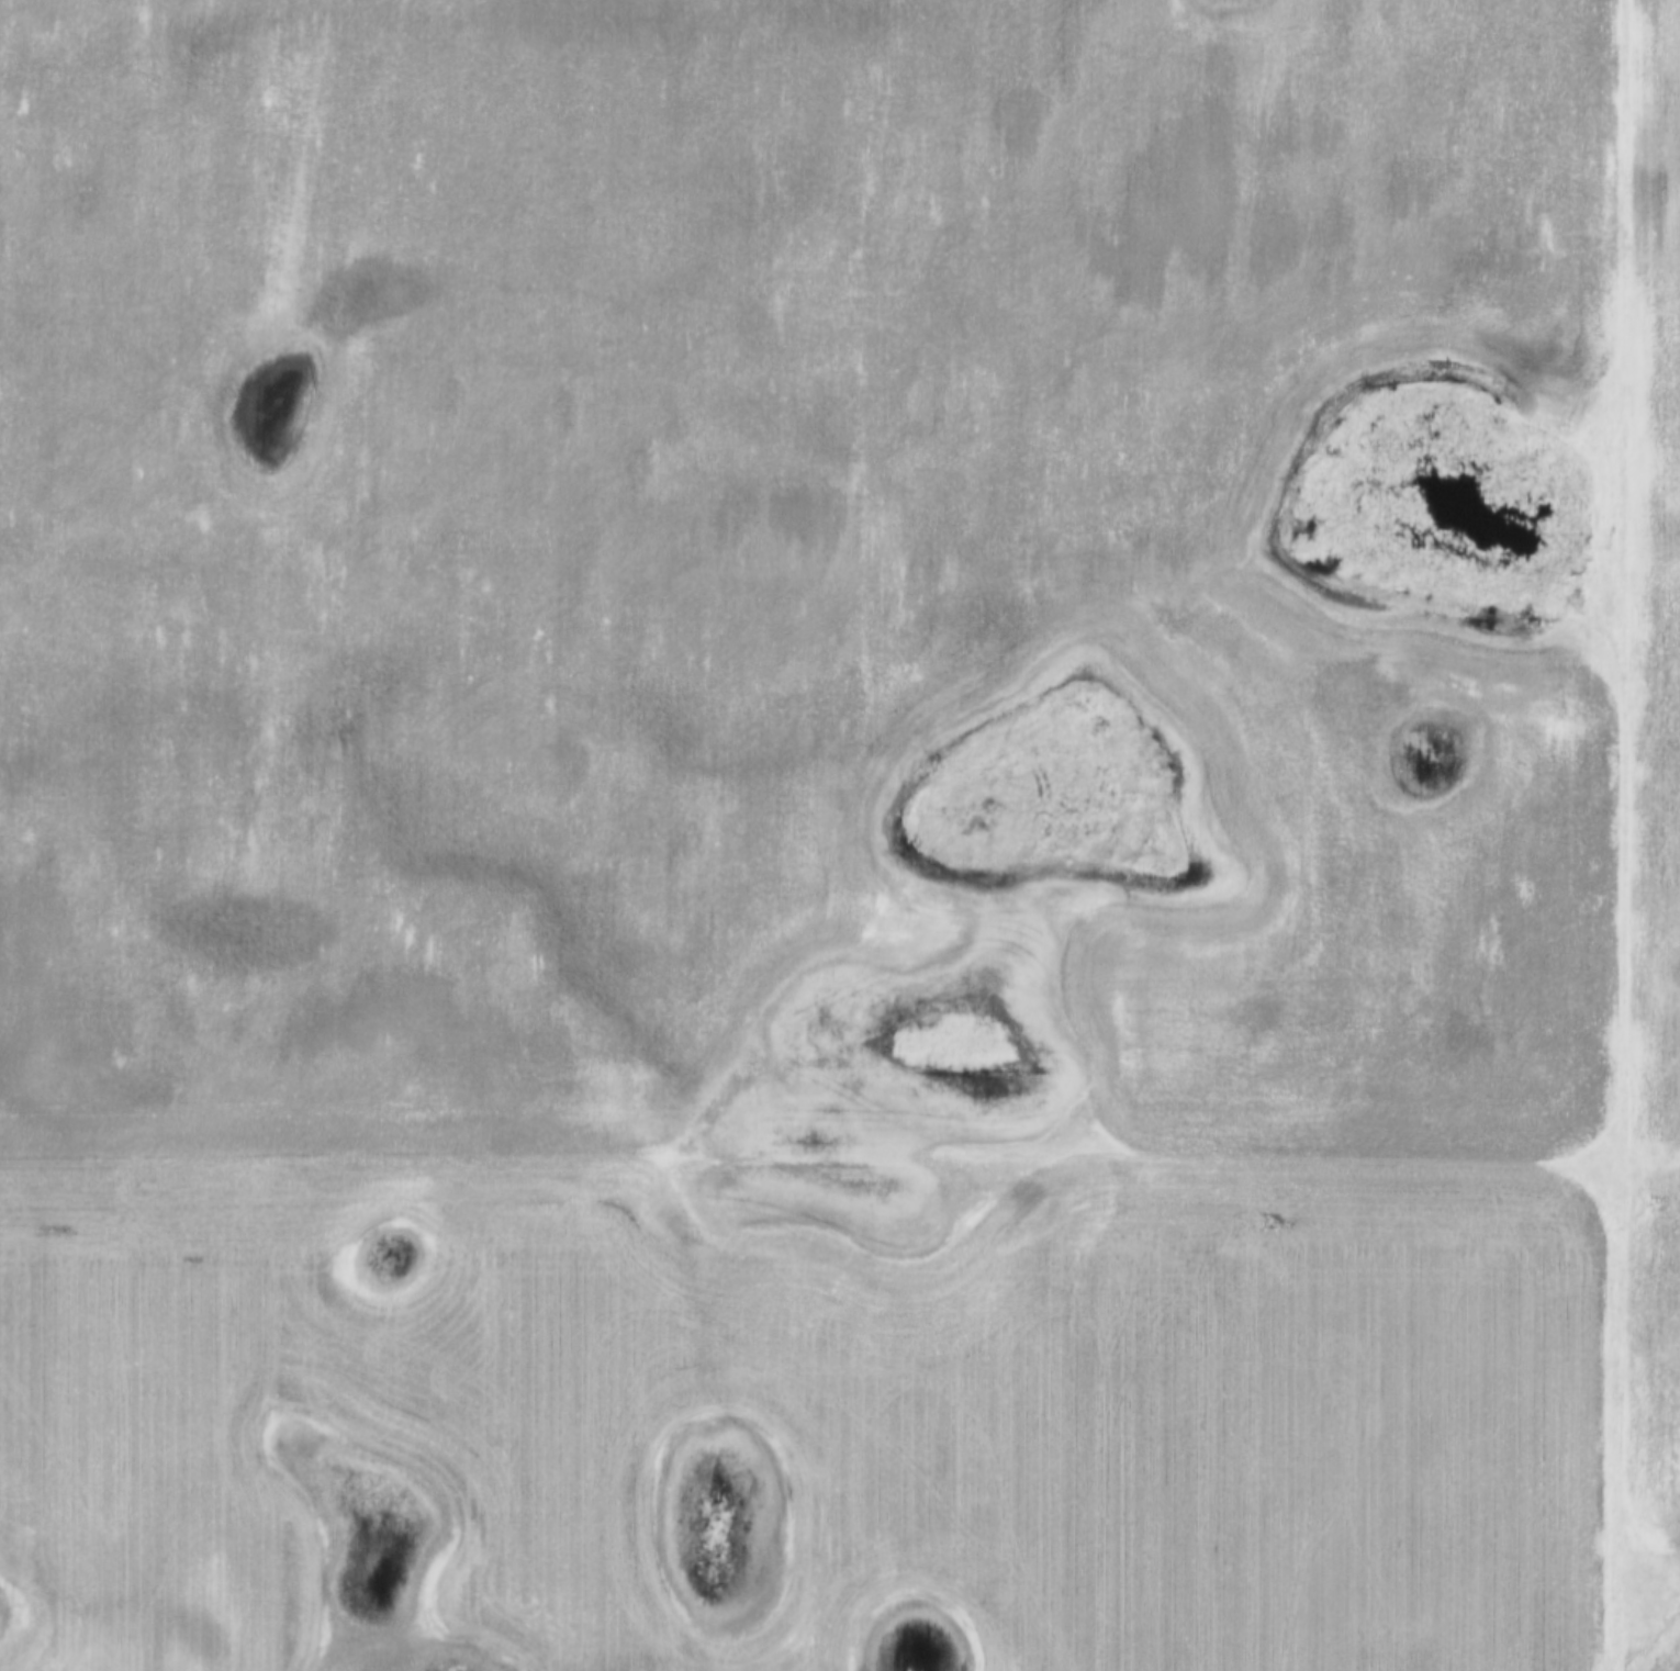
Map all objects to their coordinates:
road: (1619, 834)

